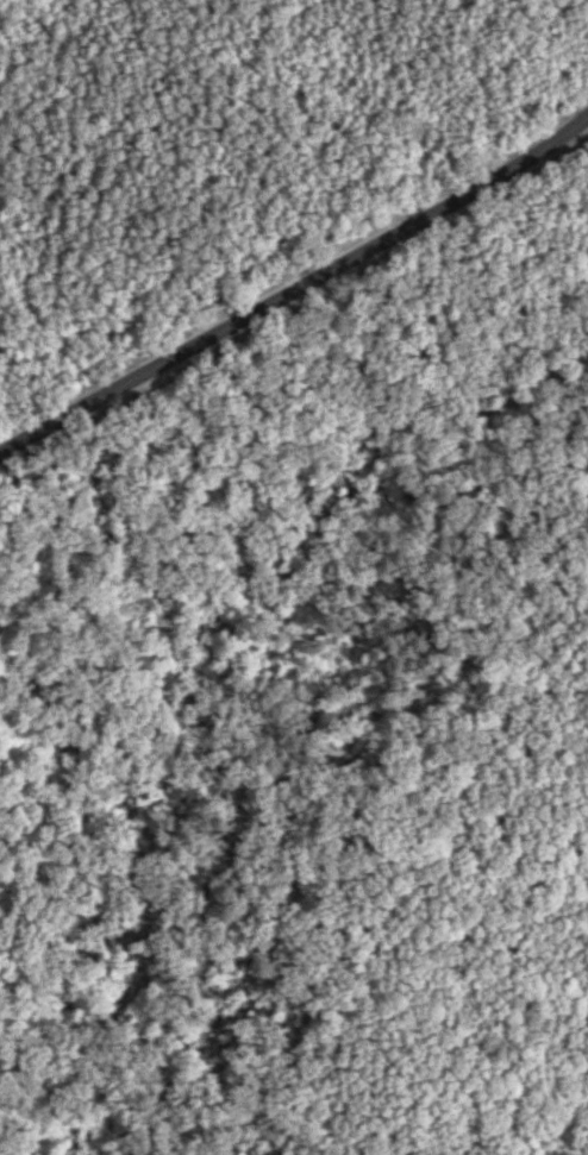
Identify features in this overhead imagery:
road: (295, 289)

